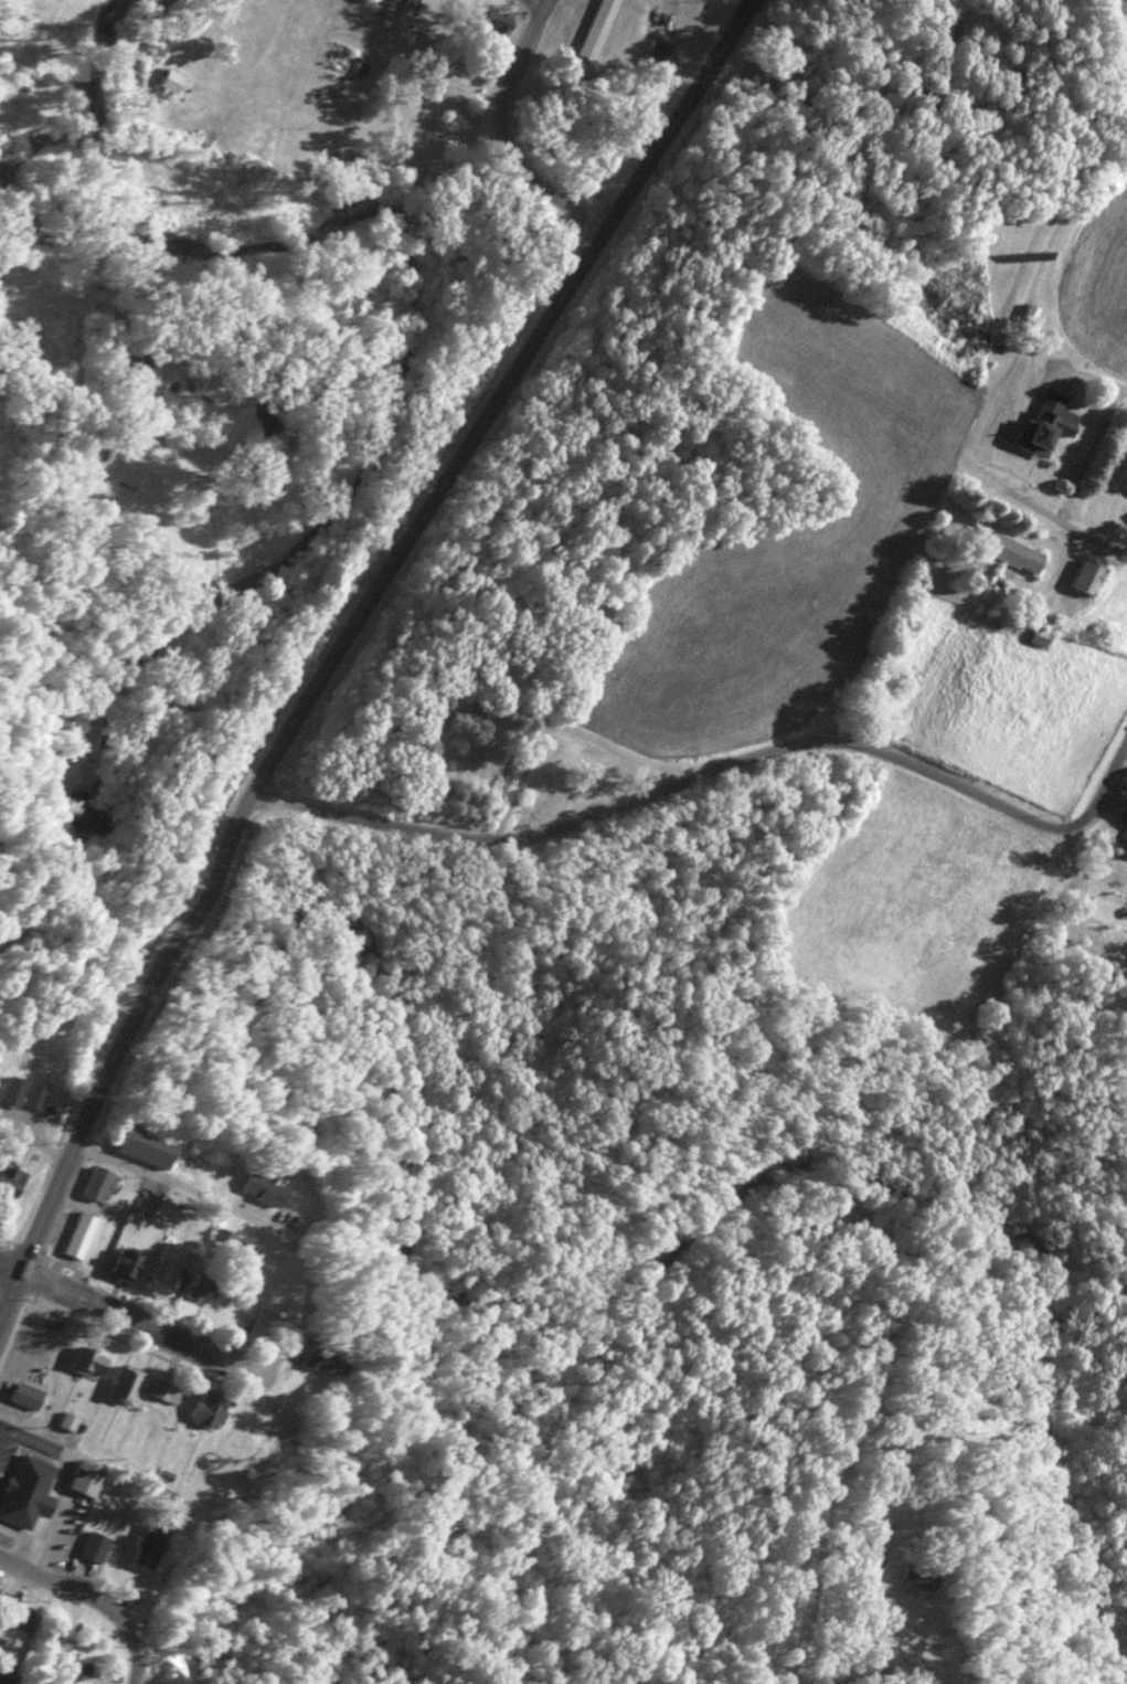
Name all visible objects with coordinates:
building: (499, 23)
building: (597, 29)
building: (663, 39)
road: (493, 134)
building: (1031, 310)
road: (116, 414)
building: (1048, 419)
road: (1076, 532)
building: (1017, 552)
building: (1088, 578)
building: (1040, 635)
road: (339, 640)
road: (554, 723)
road: (660, 779)
road: (1101, 796)
building: (1126, 851)
building: (24, 1093)
building: (146, 1145)
building: (10, 1183)
building: (99, 1184)
road: (192, 1188)
building: (258, 1189)
building: (81, 1233)
building: (128, 1265)
building: (164, 1277)
building: (205, 1284)
road: (127, 1316)
road: (297, 1316)
building: (262, 1324)
building: (318, 1362)
building: (91, 1363)
building: (125, 1384)
building: (160, 1389)
building: (29, 1396)
building: (209, 1408)
building: (87, 1479)
building: (24, 1482)
building: (68, 1538)
building: (149, 1545)
building: (95, 1547)
road: (66, 1575)
building: (916, 1577)
building: (23, 1616)
road: (135, 1649)
park: (857, 1650)
road: (862, 1677)
building: (50, 1683)

